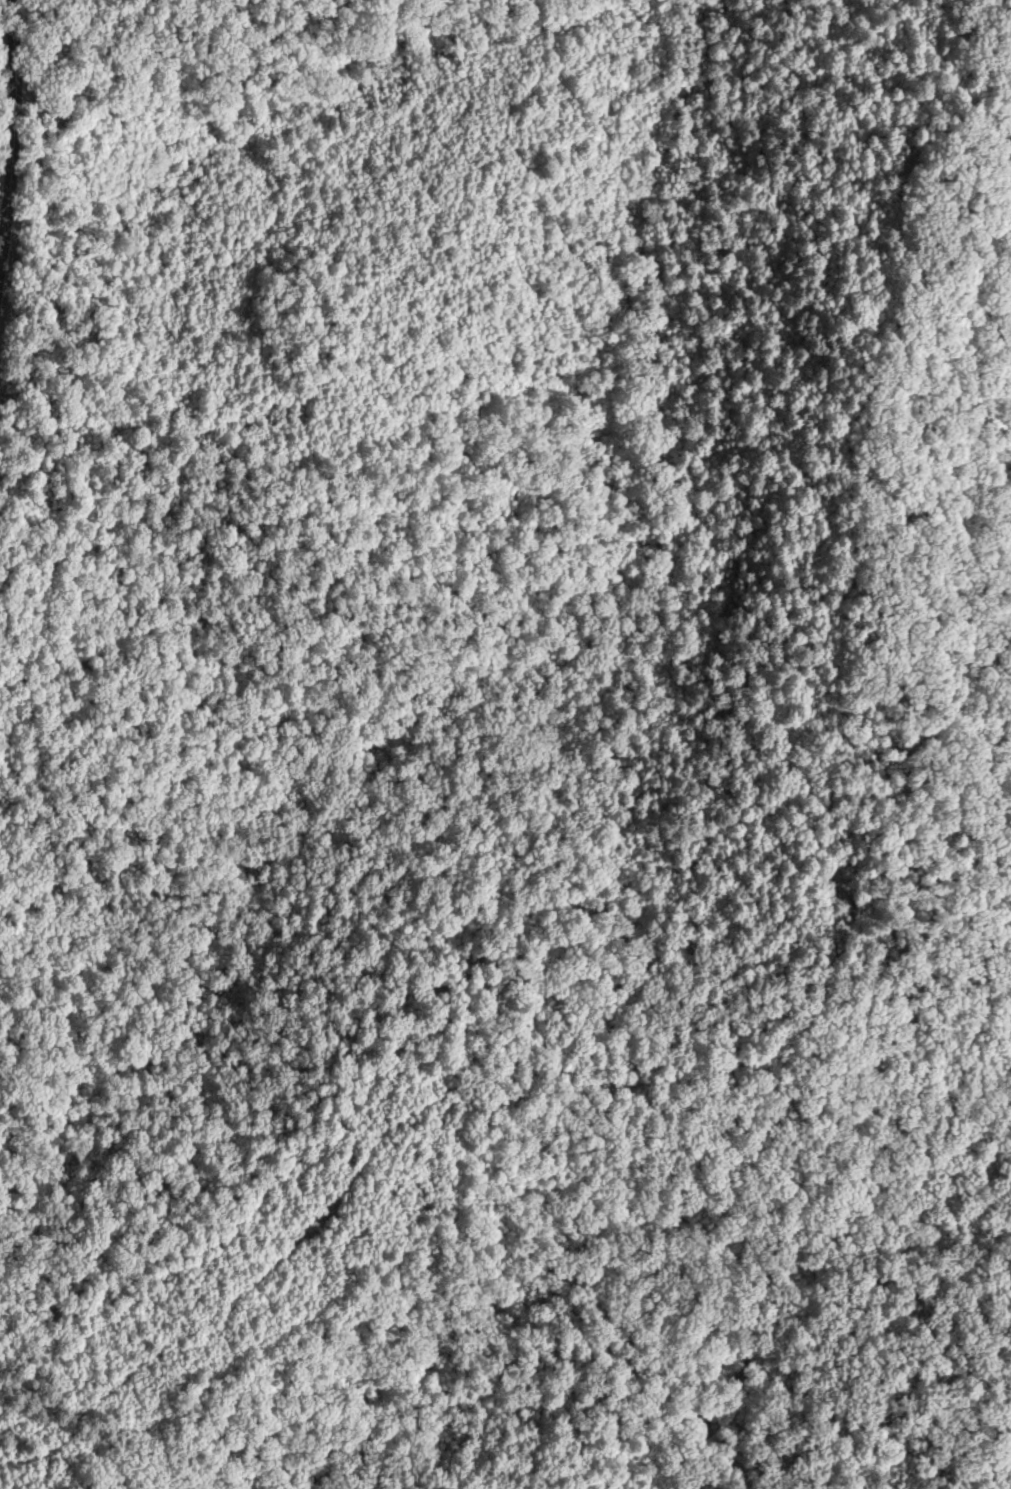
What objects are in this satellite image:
road: (15, 139)

